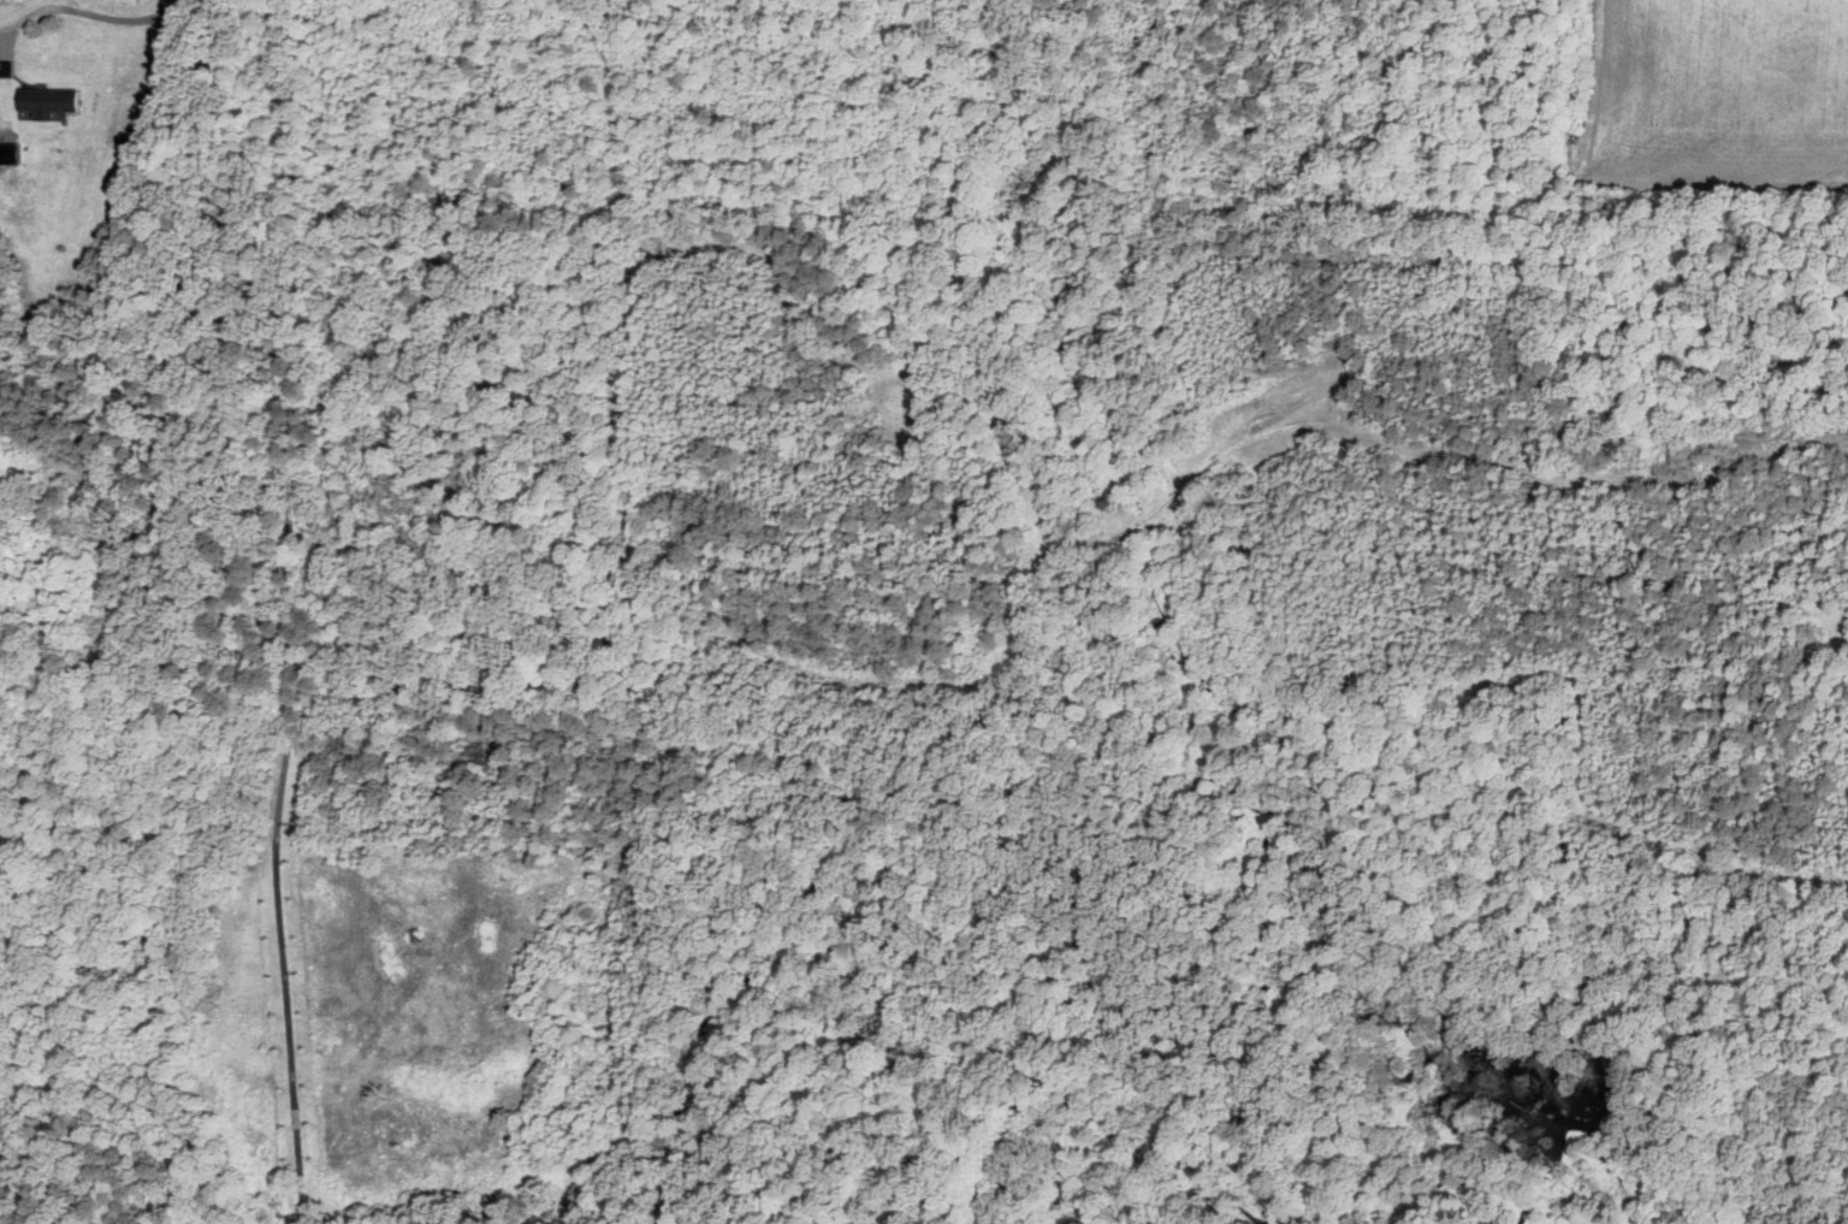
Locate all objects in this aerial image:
road: (120, 26)
building: (54, 101)
building: (7, 152)
road: (294, 613)

